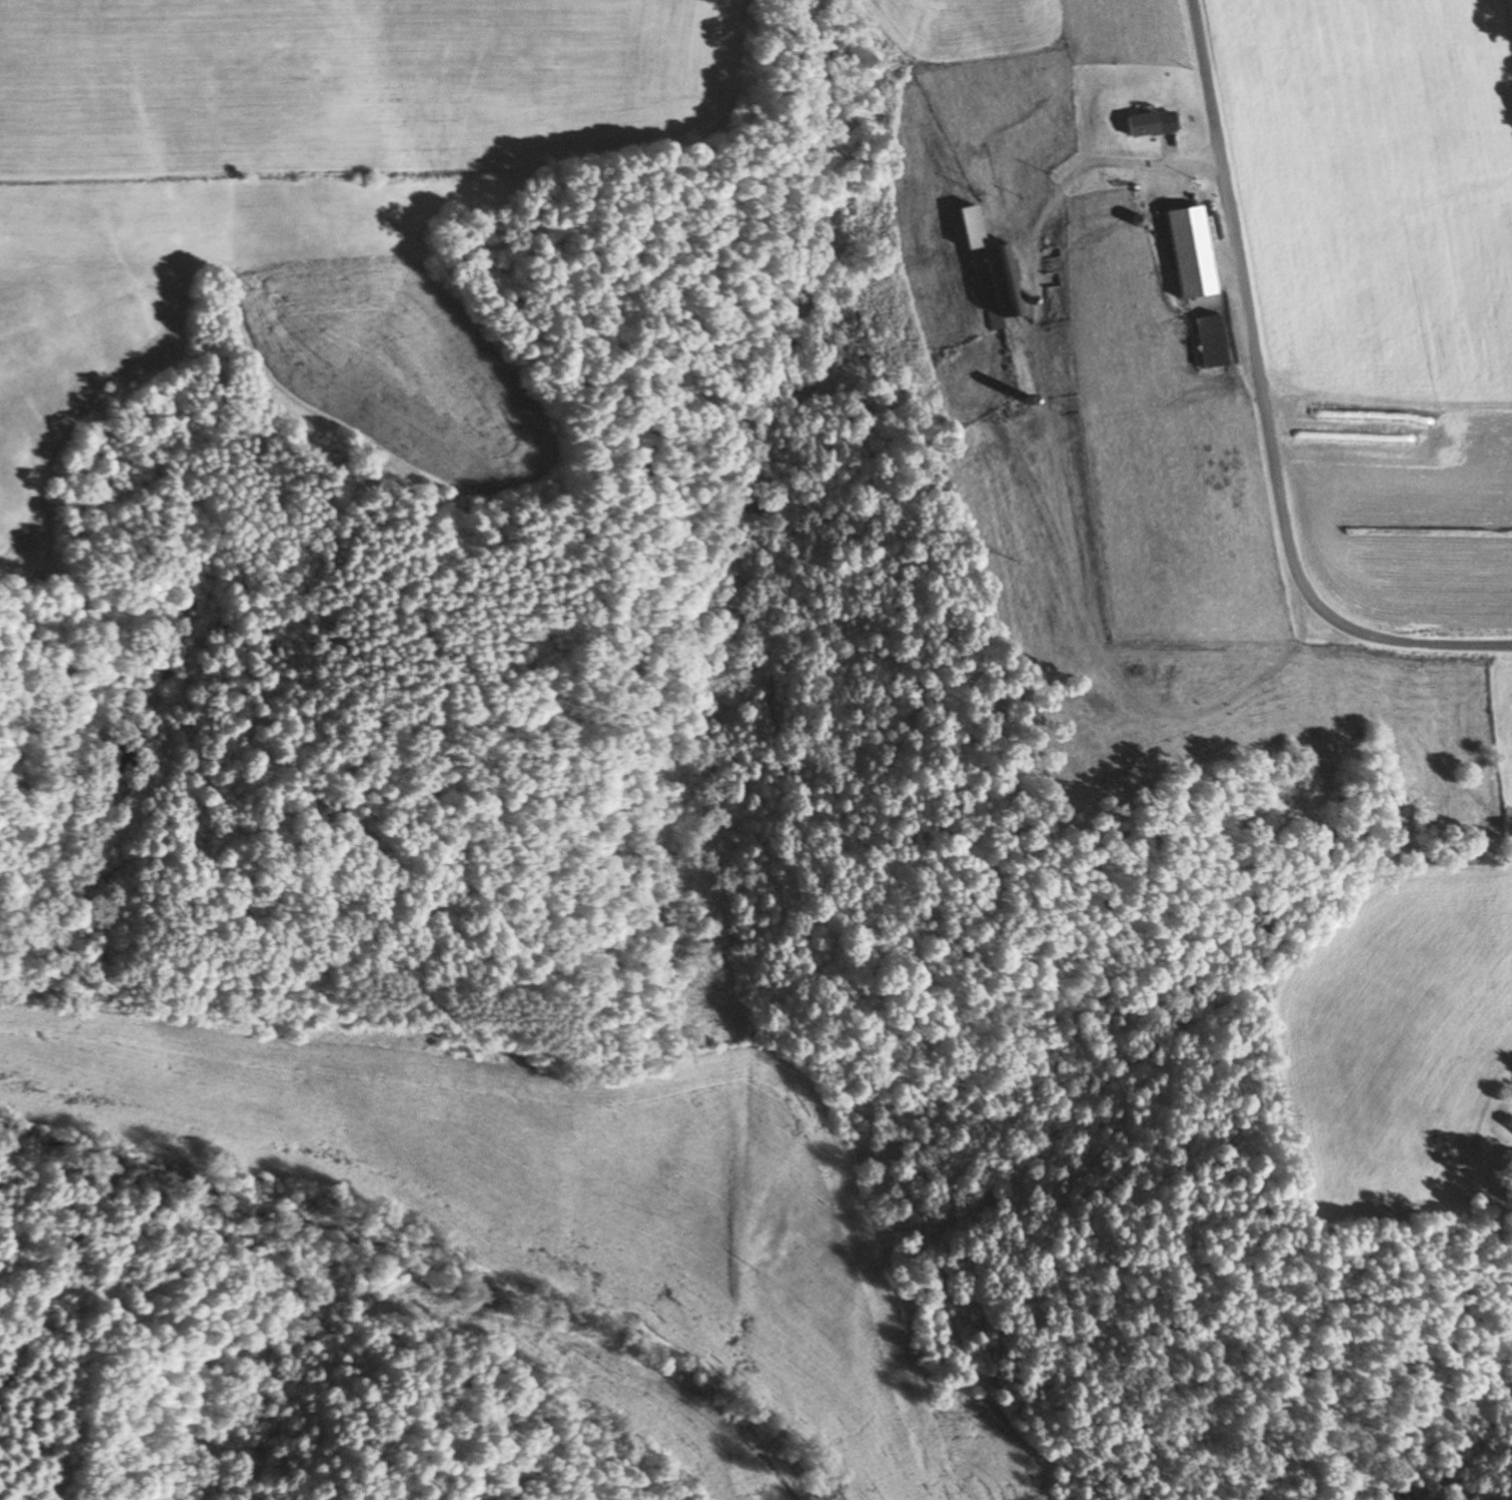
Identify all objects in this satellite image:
crop: (1046, 30)
crop: (351, 82)
building: (1147, 123)
building: (969, 227)
building: (1187, 252)
building: (1002, 284)
building: (1206, 342)
crop: (387, 366)
road: (1261, 404)
road: (1075, 479)
building: (1510, 1124)
crop: (551, 1194)
crop: (632, 1395)

